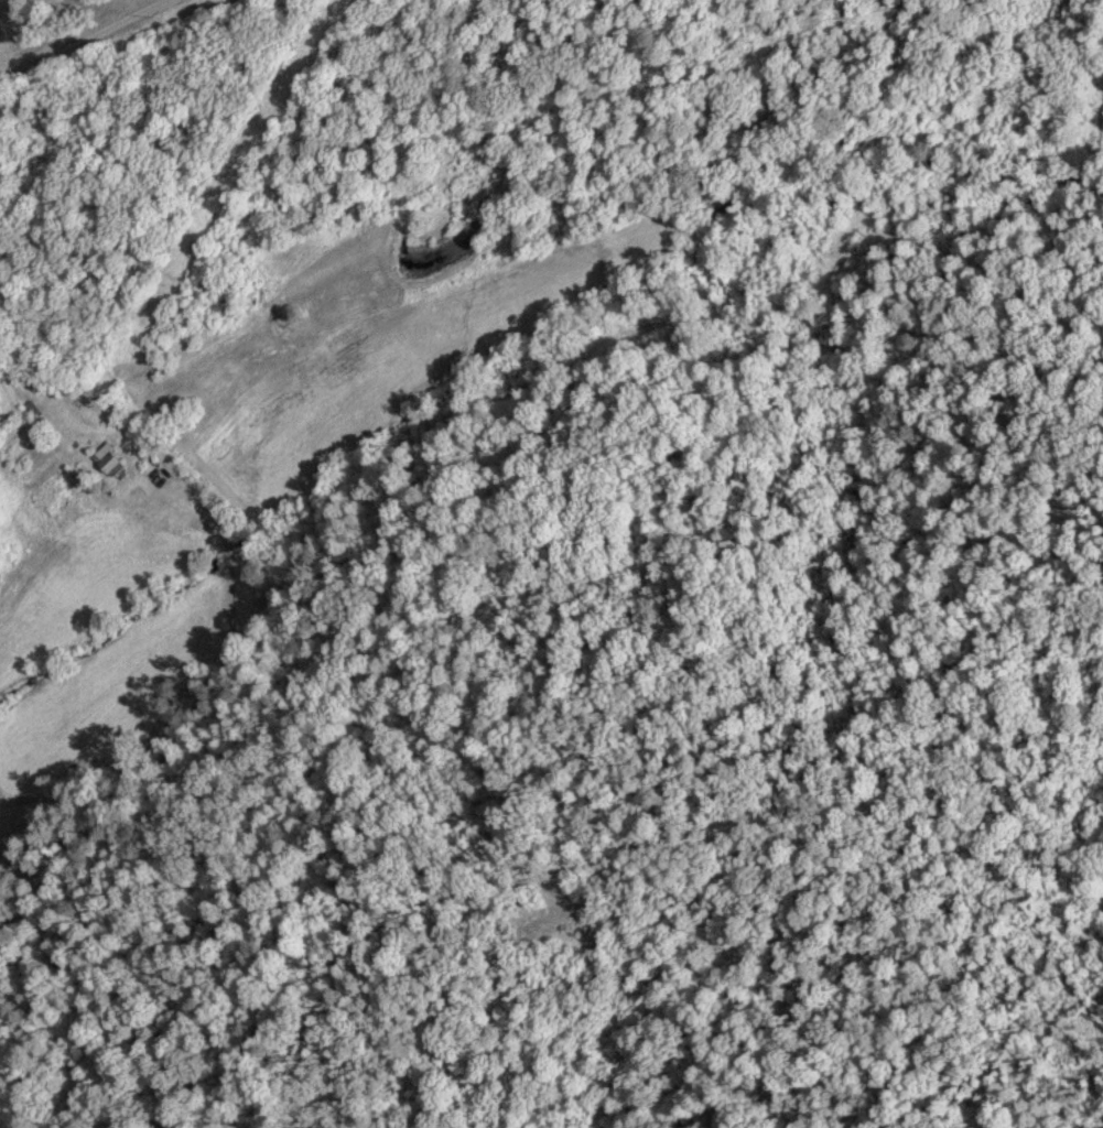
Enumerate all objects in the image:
road: (91, 36)
road: (202, 502)
road: (75, 871)

